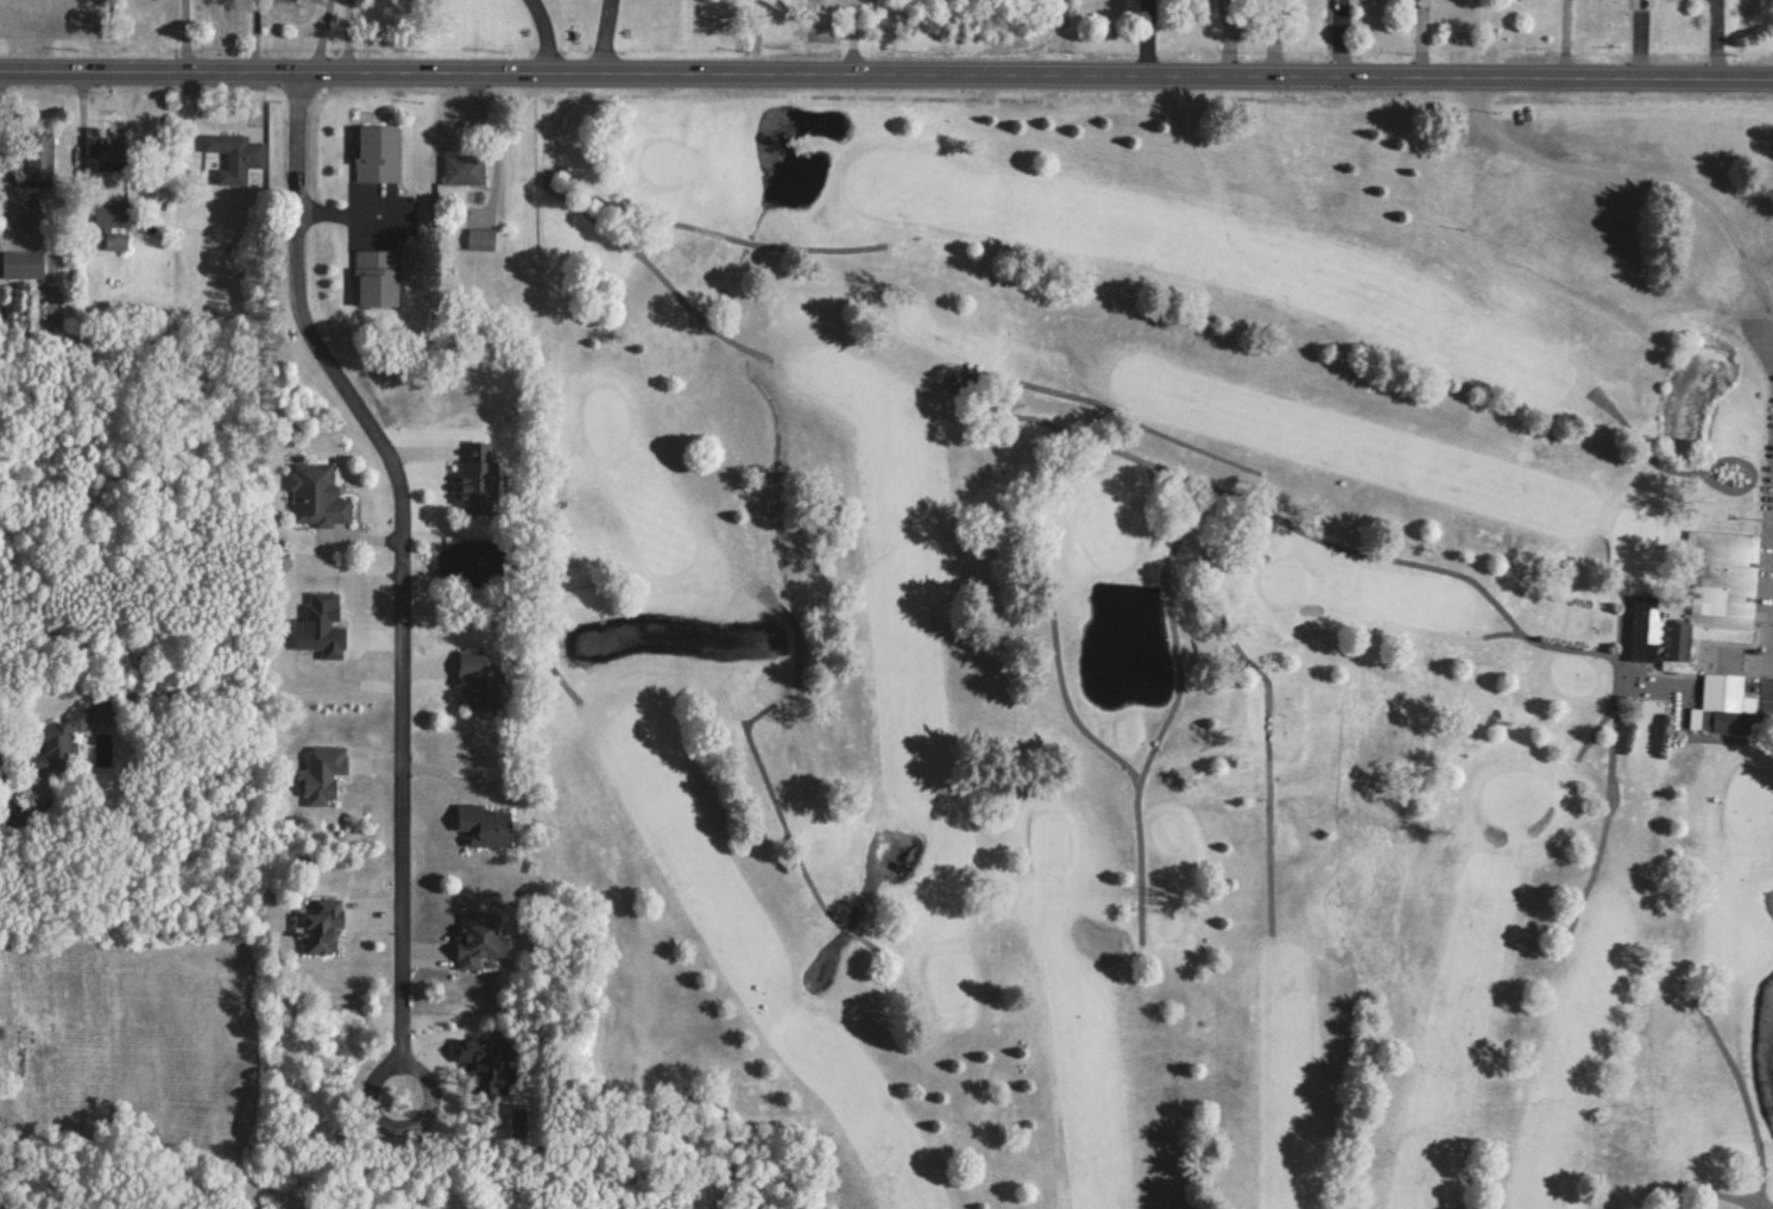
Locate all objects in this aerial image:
building: (1640, 4)
building: (819, 15)
road: (188, 31)
road: (348, 31)
road: (545, 31)
road: (606, 32)
road: (886, 68)
building: (113, 151)
building: (379, 153)
building: (40, 155)
building: (236, 156)
building: (465, 169)
road: (348, 210)
building: (481, 239)
building: (116, 240)
building: (23, 264)
building: (378, 278)
building: (479, 481)
building: (318, 495)
road: (404, 549)
building: (1703, 602)
park: (1166, 643)
building: (481, 678)
building: (1727, 705)
road: (34, 818)
building: (486, 825)
building: (324, 924)
building: (481, 936)
road: (427, 1112)

